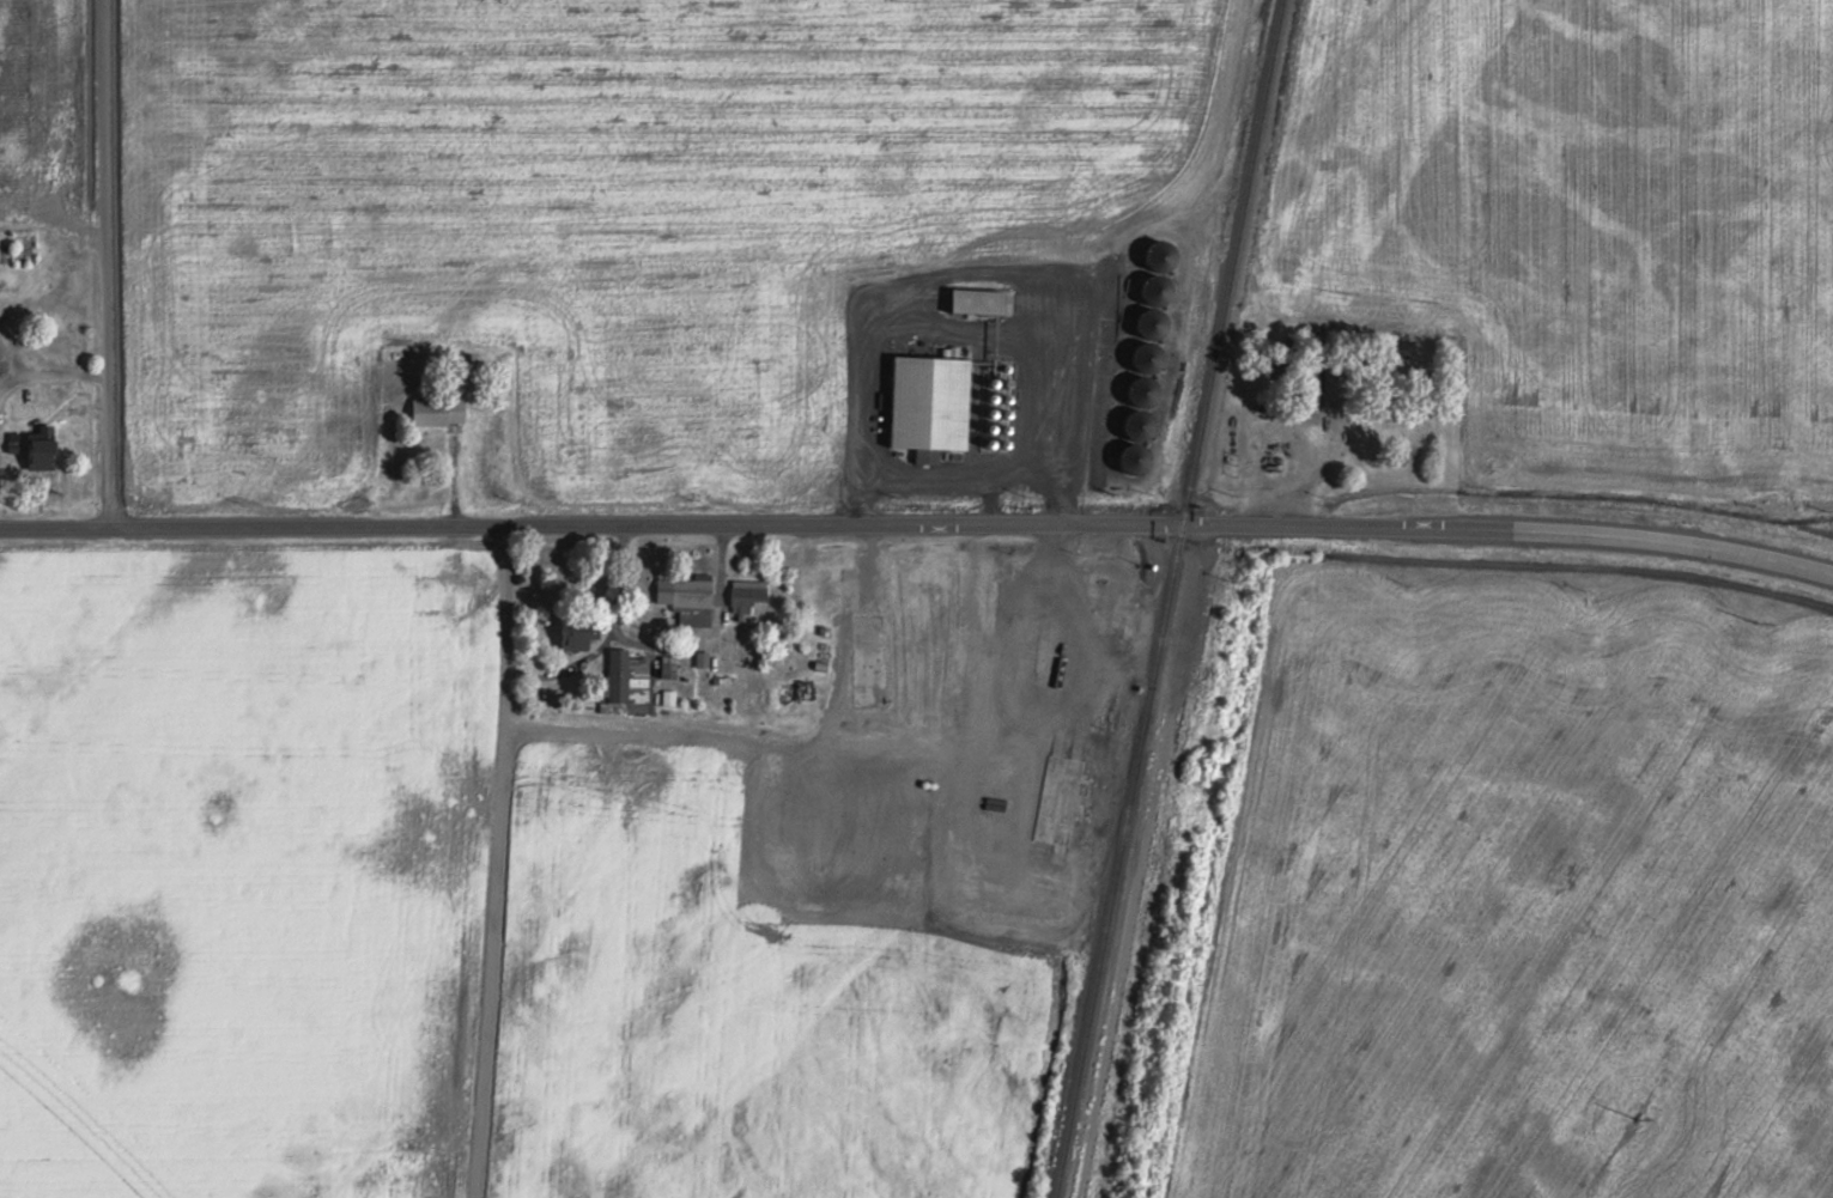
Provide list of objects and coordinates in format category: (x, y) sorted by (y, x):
road: (105, 262)
building: (976, 298)
road: (50, 372)
building: (1305, 379)
building: (29, 393)
building: (929, 400)
building: (436, 408)
silo: (1135, 424)
building: (12, 439)
building: (40, 445)
silo: (1130, 457)
road: (453, 472)
road: (918, 521)
building: (691, 592)
building: (745, 594)
railway: (1167, 598)
building: (728, 616)
building: (951, 621)
building: (575, 628)
building: (1021, 649)
building: (700, 661)
building: (617, 671)
building: (868, 674)
building: (960, 699)
silo: (851, 716)
silo: (896, 719)
silo: (872, 720)
building: (1051, 793)
road: (491, 861)
building: (996, 906)

